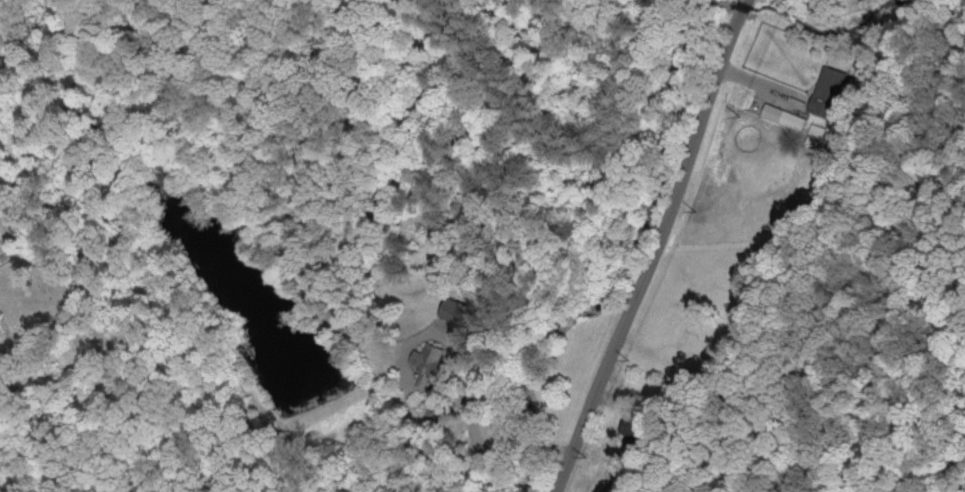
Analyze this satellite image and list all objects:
building: (825, 91)
building: (780, 116)
road: (656, 247)
building: (424, 361)
road: (407, 393)

